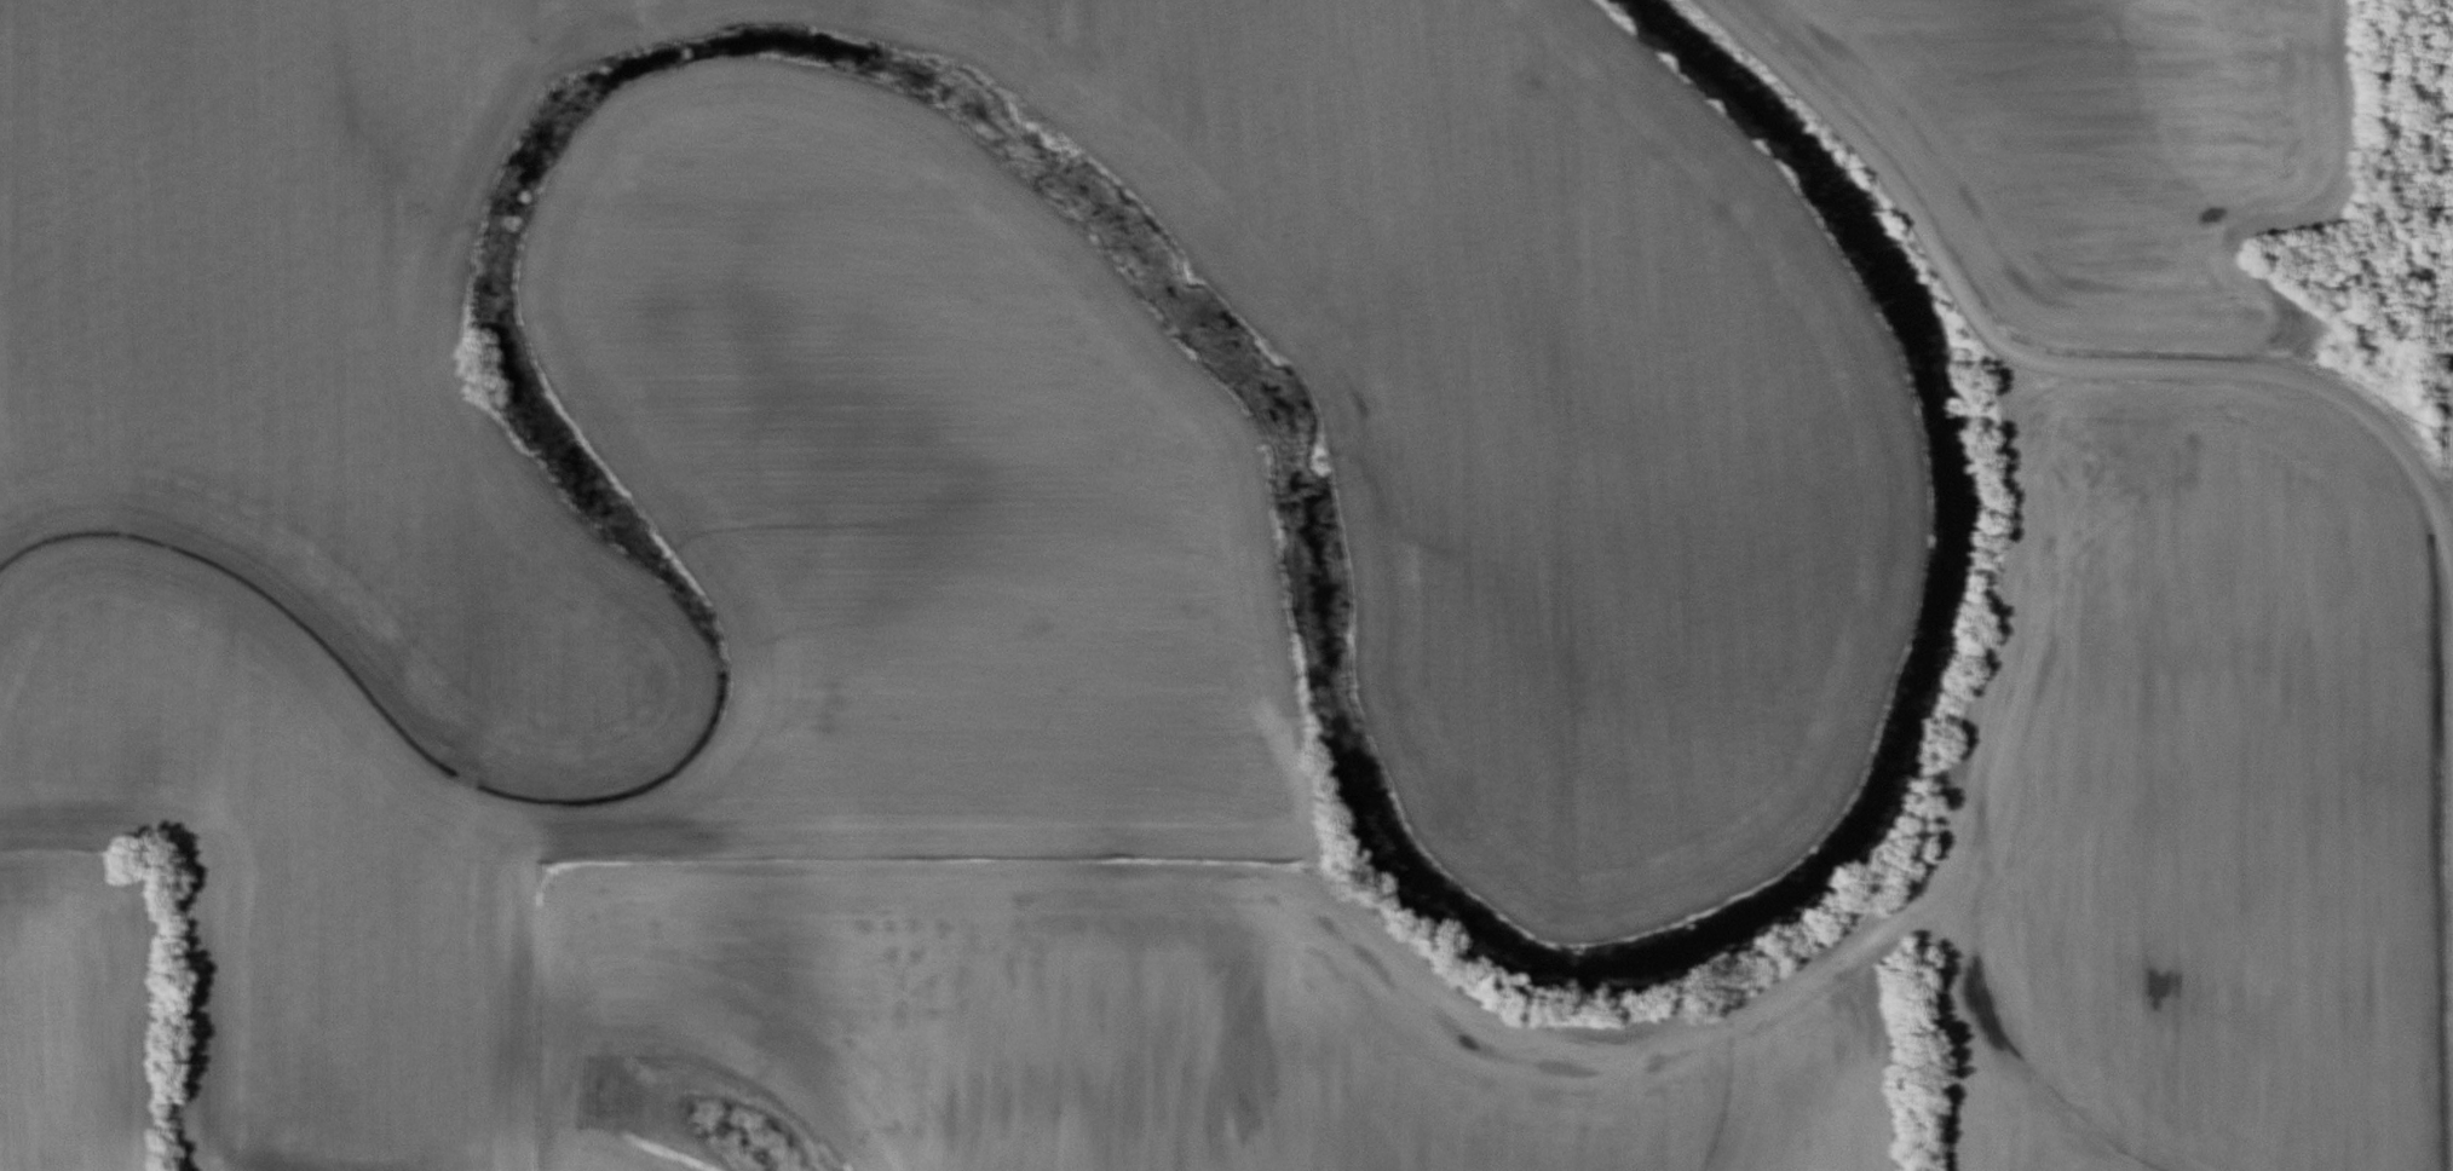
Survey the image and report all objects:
road: (2048, 351)

